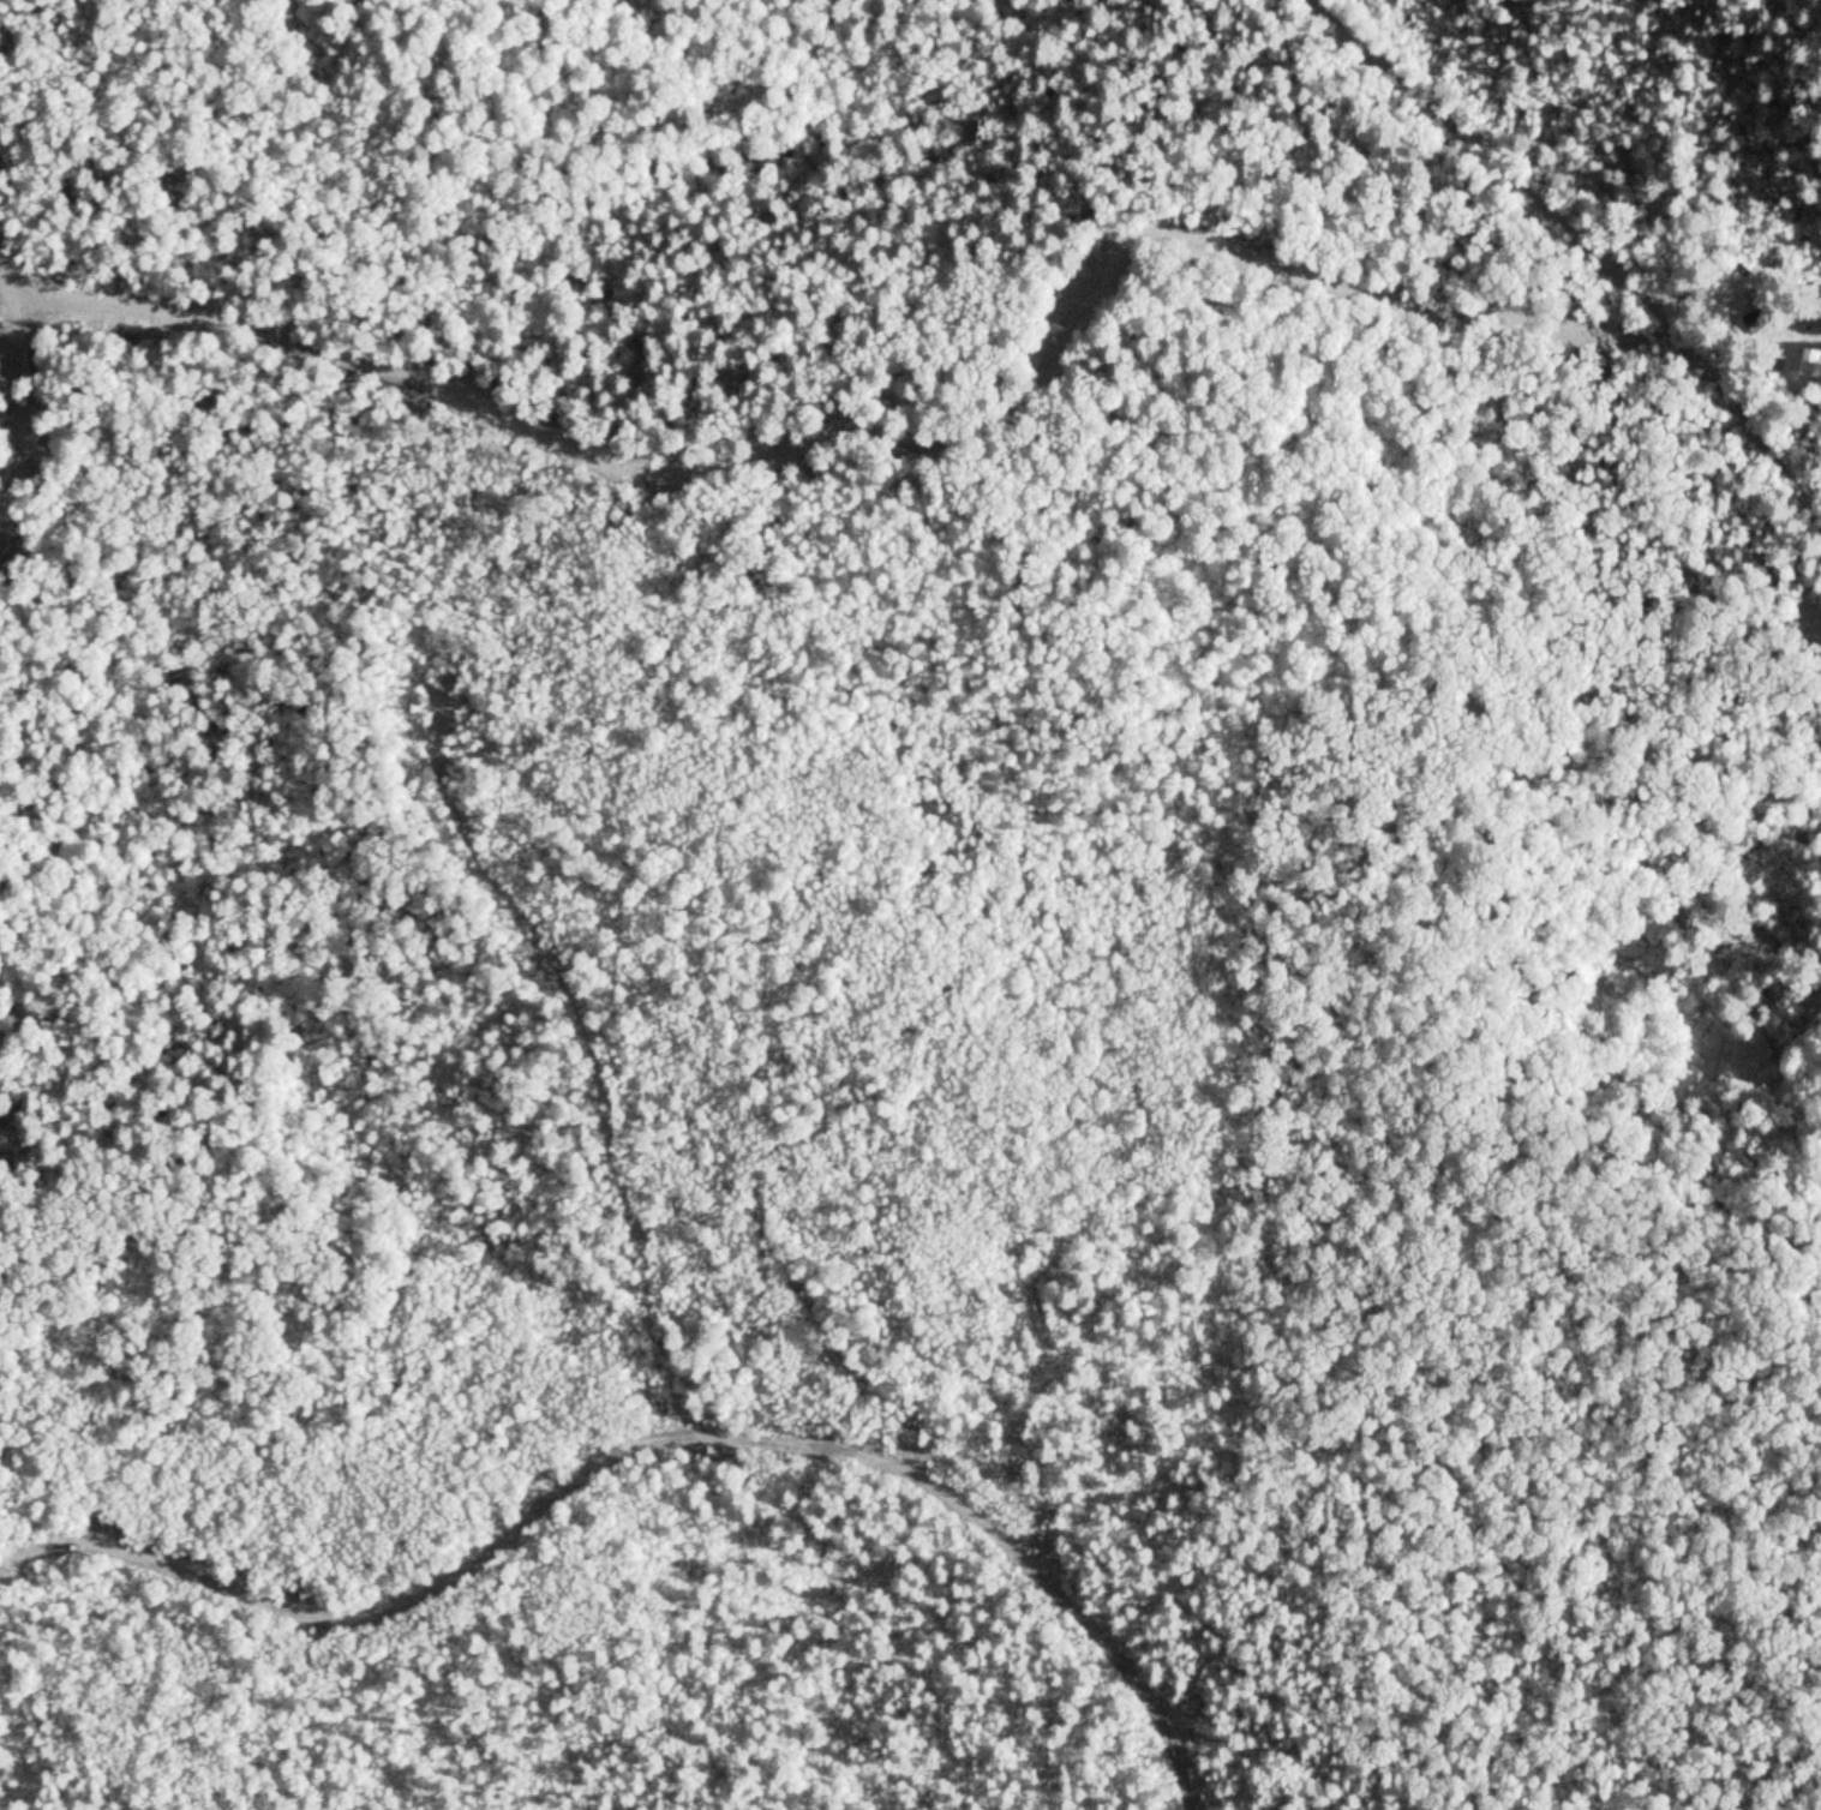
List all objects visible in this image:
road: (1593, 212)
road: (495, 762)

